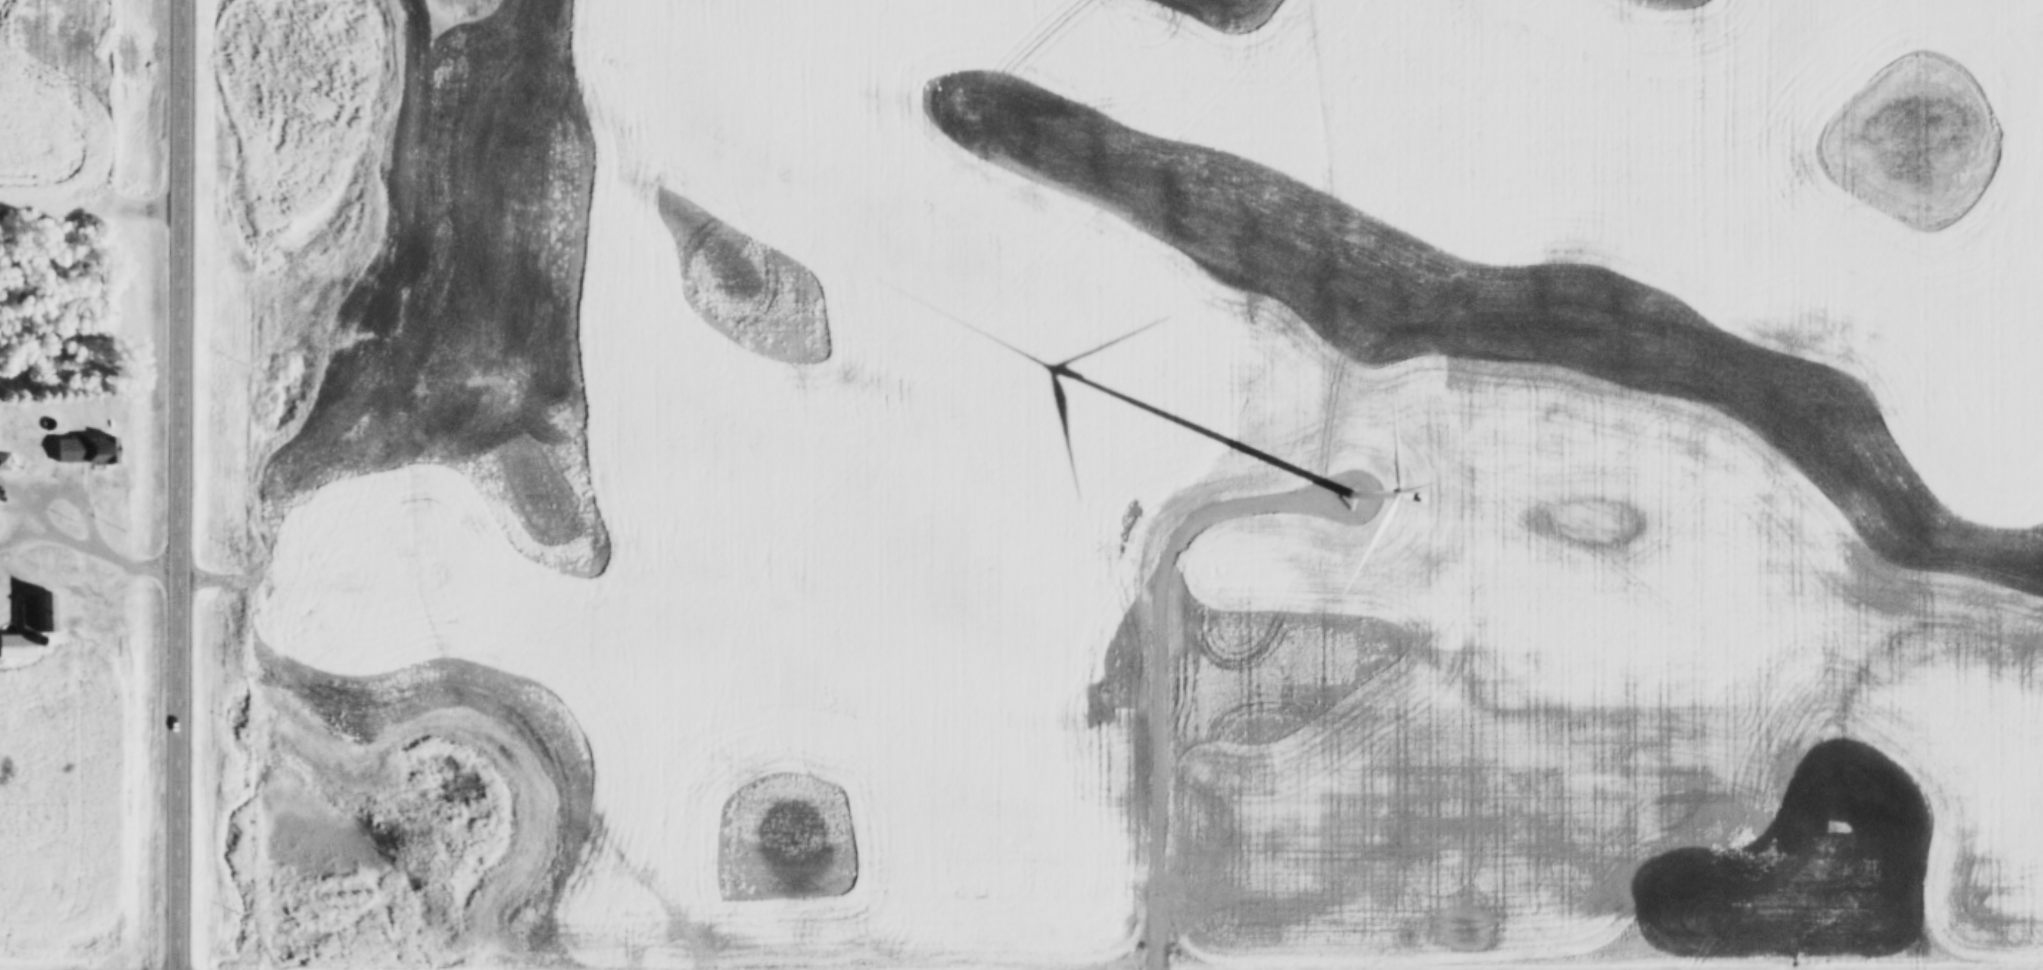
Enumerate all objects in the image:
building: (88, 450)
road: (183, 485)
wind turbine: (1339, 487)
road: (71, 492)
road: (49, 536)
road: (139, 569)
building: (36, 615)
building: (16, 646)

